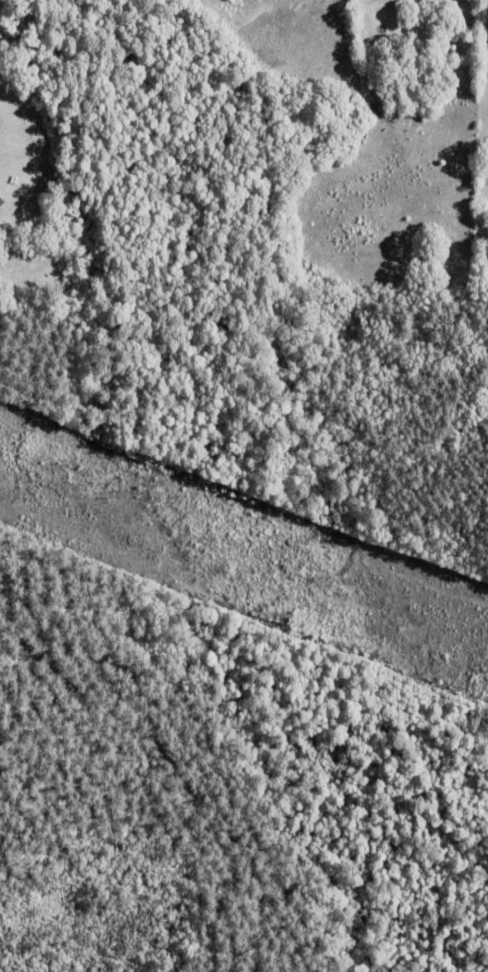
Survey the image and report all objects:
building: (1, 200)
road: (72, 677)

